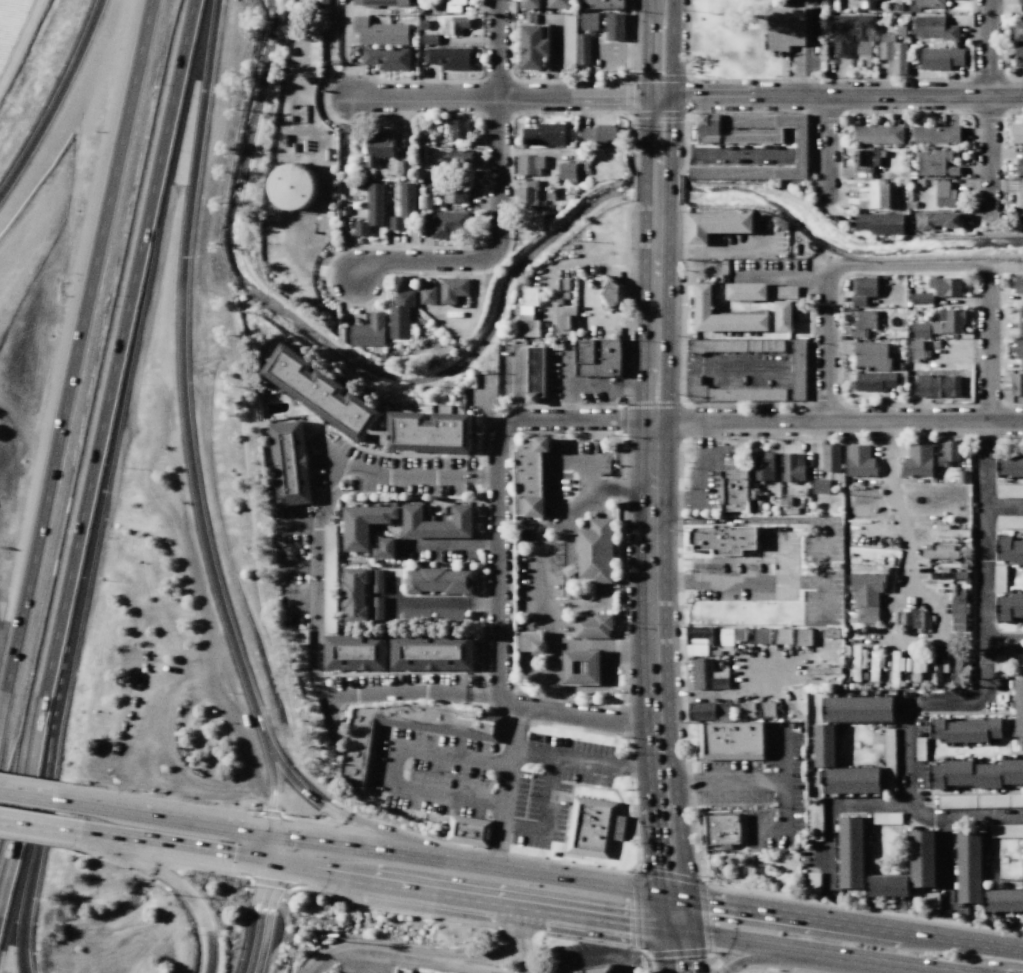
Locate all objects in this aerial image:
building: (320, 2)
building: (379, 2)
road: (756, 2)
building: (1020, 2)
building: (929, 3)
building: (529, 4)
building: (558, 4)
building: (601, 4)
building: (867, 4)
building: (454, 5)
building: (588, 21)
building: (423, 24)
building: (454, 25)
building: (615, 26)
building: (785, 27)
building: (935, 28)
building: (1019, 31)
building: (379, 32)
building: (851, 33)
crop: (18, 36)
building: (428, 38)
park: (730, 40)
road: (19, 44)
building: (532, 46)
building: (582, 49)
road: (627, 49)
building: (893, 53)
parking lot: (607, 55)
building: (1019, 55)
building: (386, 58)
building: (450, 58)
building: (940, 58)
road: (795, 71)
road: (658, 87)
road: (504, 97)
road: (840, 97)
traffic signals: (658, 98)
road: (58, 102)
road: (987, 108)
building: (708, 128)
building: (458, 129)
building: (600, 132)
building: (1017, 133)
building: (544, 134)
building: (878, 134)
building: (935, 134)
building: (377, 147)
road: (828, 149)
building: (800, 154)
building: (460, 159)
building: (868, 160)
building: (936, 163)
building: (530, 164)
building: (404, 167)
building: (1020, 167)
building: (567, 171)
building: (269, 184)
building: (293, 186)
road: (656, 187)
building: (454, 194)
building: (944, 194)
building: (527, 195)
building: (875, 195)
road: (496, 198)
building: (1019, 199)
building: (425, 202)
building: (404, 205)
building: (372, 209)
building: (941, 219)
building: (880, 222)
building: (447, 223)
building: (781, 223)
building: (716, 225)
road: (717, 249)
road: (1006, 265)
road: (834, 268)
road: (780, 275)
building: (1018, 285)
building: (945, 286)
building: (452, 289)
building: (863, 289)
building: (745, 291)
building: (782, 292)
building: (610, 293)
building: (428, 295)
building: (921, 299)
building: (528, 312)
parking lot: (594, 313)
building: (400, 314)
building: (722, 315)
building: (783, 316)
building: (565, 317)
building: (952, 319)
building: (1021, 322)
building: (863, 323)
building: (920, 330)
building: (368, 331)
road: (73, 342)
road: (988, 343)
building: (735, 345)
building: (916, 349)
building: (1018, 350)
building: (872, 355)
building: (598, 358)
building: (798, 359)
road: (713, 367)
parking lot: (513, 371)
building: (535, 374)
parking lot: (575, 379)
building: (877, 380)
road: (517, 383)
building: (1017, 384)
road: (610, 385)
road: (568, 386)
building: (937, 386)
building: (367, 410)
road: (578, 419)
road: (192, 420)
road: (837, 420)
road: (704, 433)
building: (948, 454)
building: (830, 456)
road: (104, 458)
road: (588, 460)
building: (859, 461)
building: (917, 461)
building: (290, 462)
building: (1003, 465)
building: (1016, 465)
building: (761, 466)
building: (792, 467)
building: (961, 476)
building: (532, 477)
parking lot: (708, 477)
building: (820, 486)
road: (554, 490)
building: (733, 491)
road: (698, 495)
road: (650, 498)
road: (896, 505)
road: (1003, 507)
road: (739, 520)
building: (437, 522)
road: (299, 524)
building: (364, 524)
building: (948, 533)
building: (722, 538)
road: (449, 543)
building: (1003, 546)
building: (384, 548)
parking lot: (438, 549)
building: (597, 551)
building: (1016, 551)
building: (940, 554)
road: (983, 554)
road: (823, 557)
road: (779, 559)
road: (537, 560)
road: (298, 565)
parking lot: (784, 571)
building: (949, 575)
road: (316, 576)
building: (329, 578)
building: (376, 580)
building: (440, 581)
road: (736, 582)
road: (393, 588)
building: (866, 588)
building: (355, 594)
road: (445, 603)
road: (823, 603)
building: (1017, 603)
road: (301, 604)
building: (376, 607)
building: (957, 608)
building: (1003, 608)
road: (393, 611)
building: (867, 614)
building: (416, 616)
building: (449, 616)
building: (911, 618)
road: (531, 620)
building: (591, 625)
gas station: (591, 625)
building: (738, 634)
building: (759, 635)
building: (783, 635)
building: (803, 636)
road: (1003, 636)
road: (498, 637)
building: (707, 638)
road: (524, 641)
building: (530, 642)
road: (600, 644)
road: (1003, 648)
building: (354, 652)
building: (431, 652)
building: (858, 659)
building: (580, 667)
road: (528, 671)
building: (1019, 672)
building: (705, 675)
building: (1018, 707)
building: (855, 708)
building: (745, 709)
building: (709, 710)
building: (767, 710)
road: (905, 713)
building: (937, 727)
building: (993, 727)
building: (965, 731)
building: (730, 740)
building: (1020, 742)
building: (822, 744)
road: (784, 754)
building: (358, 758)
road: (585, 760)
road: (393, 765)
building: (1011, 771)
building: (957, 772)
building: (986, 776)
building: (936, 777)
parking lot: (491, 780)
building: (850, 780)
road: (764, 781)
road: (507, 786)
parking lot: (762, 788)
road: (28, 795)
road: (883, 804)
road: (544, 814)
road: (342, 817)
road: (37, 826)
building: (591, 827)
building: (468, 830)
building: (726, 831)
traffic signals: (269, 833)
road: (678, 844)
road: (171, 847)
road: (370, 847)
building: (849, 851)
building: (921, 856)
road: (656, 857)
road: (29, 858)
road: (944, 862)
traffic signals: (267, 863)
building: (968, 866)
road: (667, 874)
road: (169, 880)
building: (885, 884)
traffic signals: (660, 893)
road: (464, 895)
traffic signals: (684, 897)
building: (1003, 899)
road: (263, 903)
road: (635, 909)
road: (706, 916)
road: (853, 923)
traffic signals: (662, 925)
traffic signals: (689, 930)
road: (689, 935)
road: (519, 938)
road: (665, 949)
road: (805, 950)
road: (412, 954)
road: (707, 954)
road: (676, 955)
road: (755, 957)
road: (595, 958)
road: (711, 960)
road: (999, 964)
building: (596, 970)
road: (720, 970)

